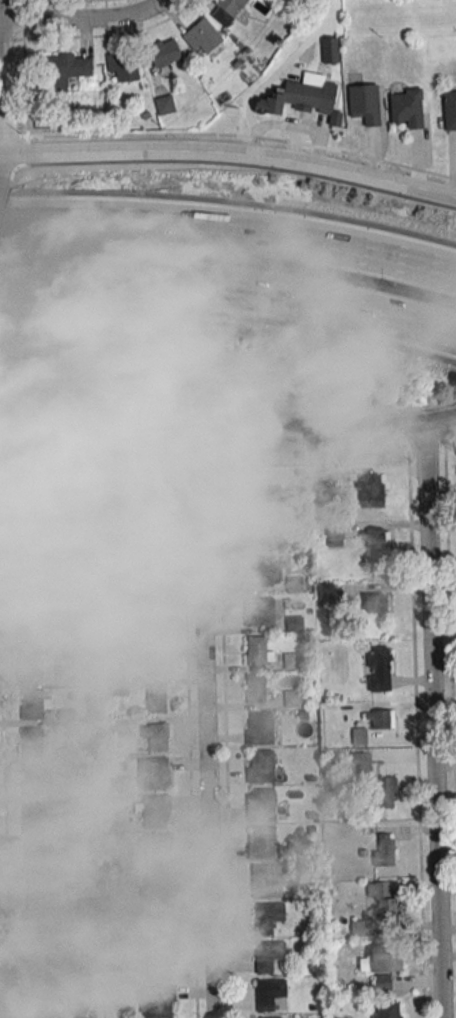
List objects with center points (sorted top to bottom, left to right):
road: (0, 10)
building: (226, 10)
road: (85, 18)
road: (0, 21)
building: (202, 37)
building: (329, 50)
building: (162, 52)
building: (121, 66)
building: (67, 69)
road: (3, 88)
building: (300, 99)
building: (364, 103)
building: (165, 104)
building: (406, 107)
building: (449, 109)
road: (230, 135)
road: (230, 152)
road: (0, 155)
road: (0, 156)
road: (105, 225)
road: (334, 250)
road: (111, 279)
road: (339, 305)
road: (87, 375)
building: (10, 399)
road: (441, 418)
road: (298, 423)
building: (118, 427)
building: (223, 449)
building: (119, 468)
building: (44, 479)
building: (228, 486)
building: (370, 490)
building: (266, 493)
building: (121, 505)
building: (21, 507)
building: (56, 520)
building: (246, 525)
building: (334, 534)
building: (376, 538)
building: (139, 544)
building: (30, 550)
building: (67, 561)
building: (257, 572)
building: (111, 574)
building: (149, 582)
building: (294, 584)
building: (32, 590)
building: (73, 601)
building: (376, 604)
building: (259, 611)
building: (152, 621)
building: (294, 624)
building: (28, 628)
building: (73, 638)
building: (259, 651)
building: (152, 658)
building: (292, 660)
building: (41, 665)
building: (379, 668)
building: (119, 687)
building: (255, 688)
building: (156, 698)
building: (293, 698)
building: (35, 703)
road: (206, 703)
building: (67, 716)
building: (380, 718)
road: (433, 720)
building: (117, 727)
building: (259, 728)
building: (156, 736)
building: (33, 743)
building: (68, 755)
building: (260, 766)
building: (153, 773)
building: (374, 778)
building: (34, 780)
building: (75, 792)
building: (260, 805)
building: (154, 810)
building: (35, 818)
building: (68, 831)
building: (261, 843)
building: (385, 849)
building: (155, 850)
building: (34, 857)
building: (267, 880)
building: (157, 890)
building: (38, 895)
building: (383, 899)
building: (87, 906)
building: (268, 917)
building: (163, 927)
building: (361, 927)
building: (49, 933)
building: (269, 955)
building: (386, 959)
building: (160, 964)
building: (58, 972)
building: (269, 993)
building: (157, 1001)
building: (78, 1005)
building: (387, 1009)
building: (50, 1013)
building: (269, 1017)

